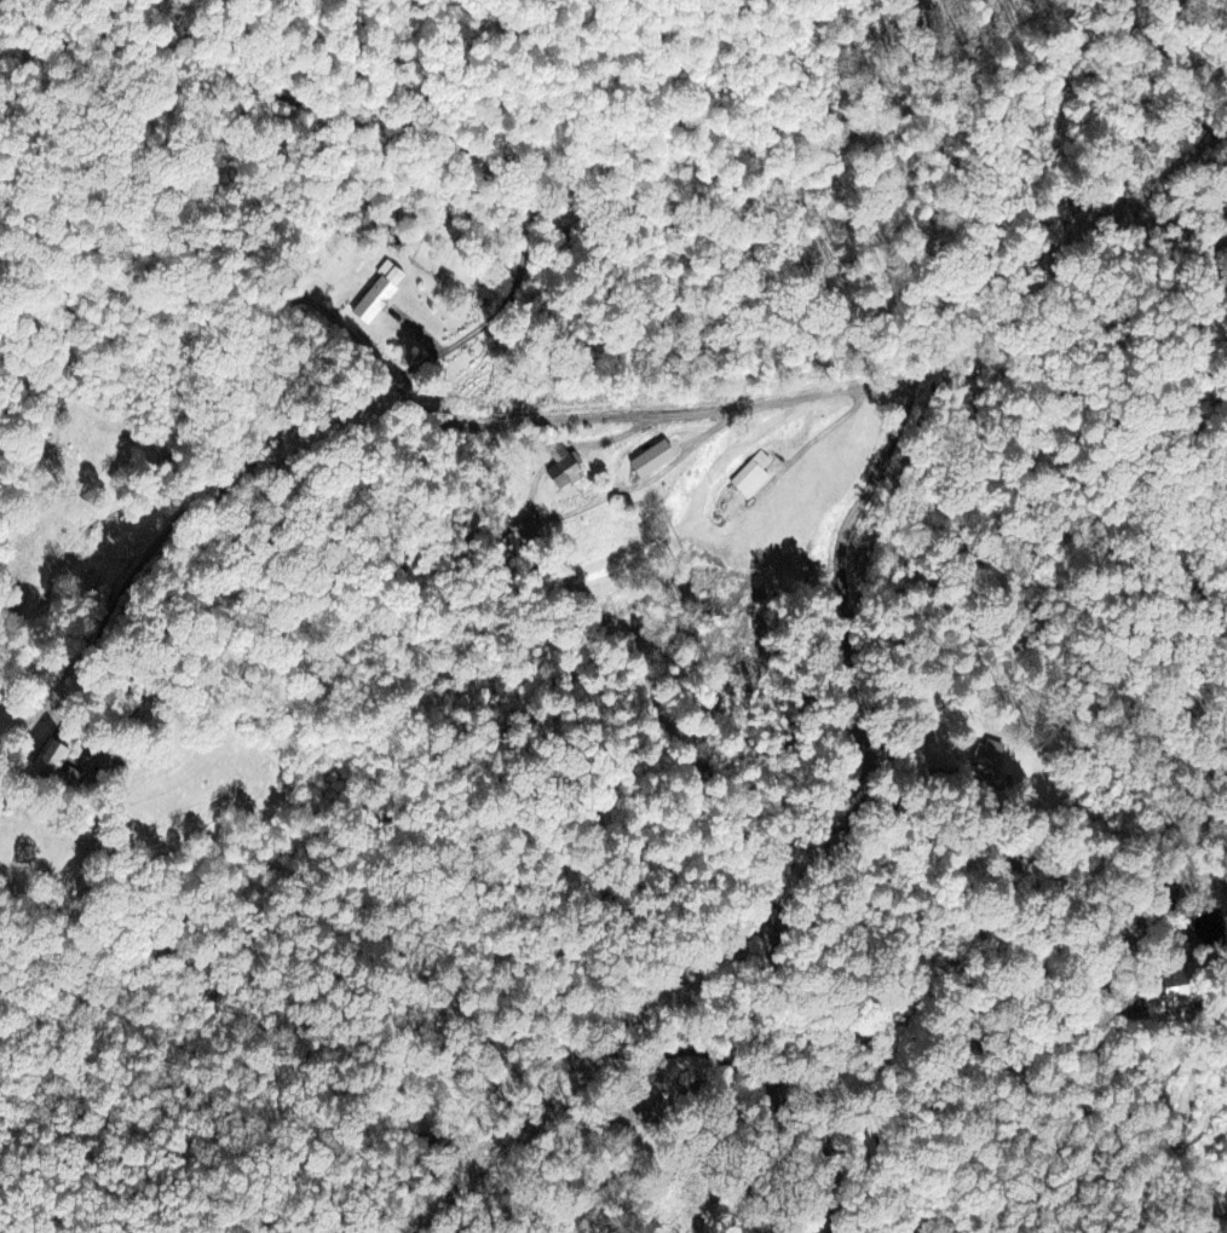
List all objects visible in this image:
road: (451, 136)
building: (381, 294)
building: (656, 460)
road: (235, 462)
building: (568, 474)
building: (753, 477)
road: (837, 570)
building: (53, 757)
road: (828, 1154)
road: (611, 1232)

